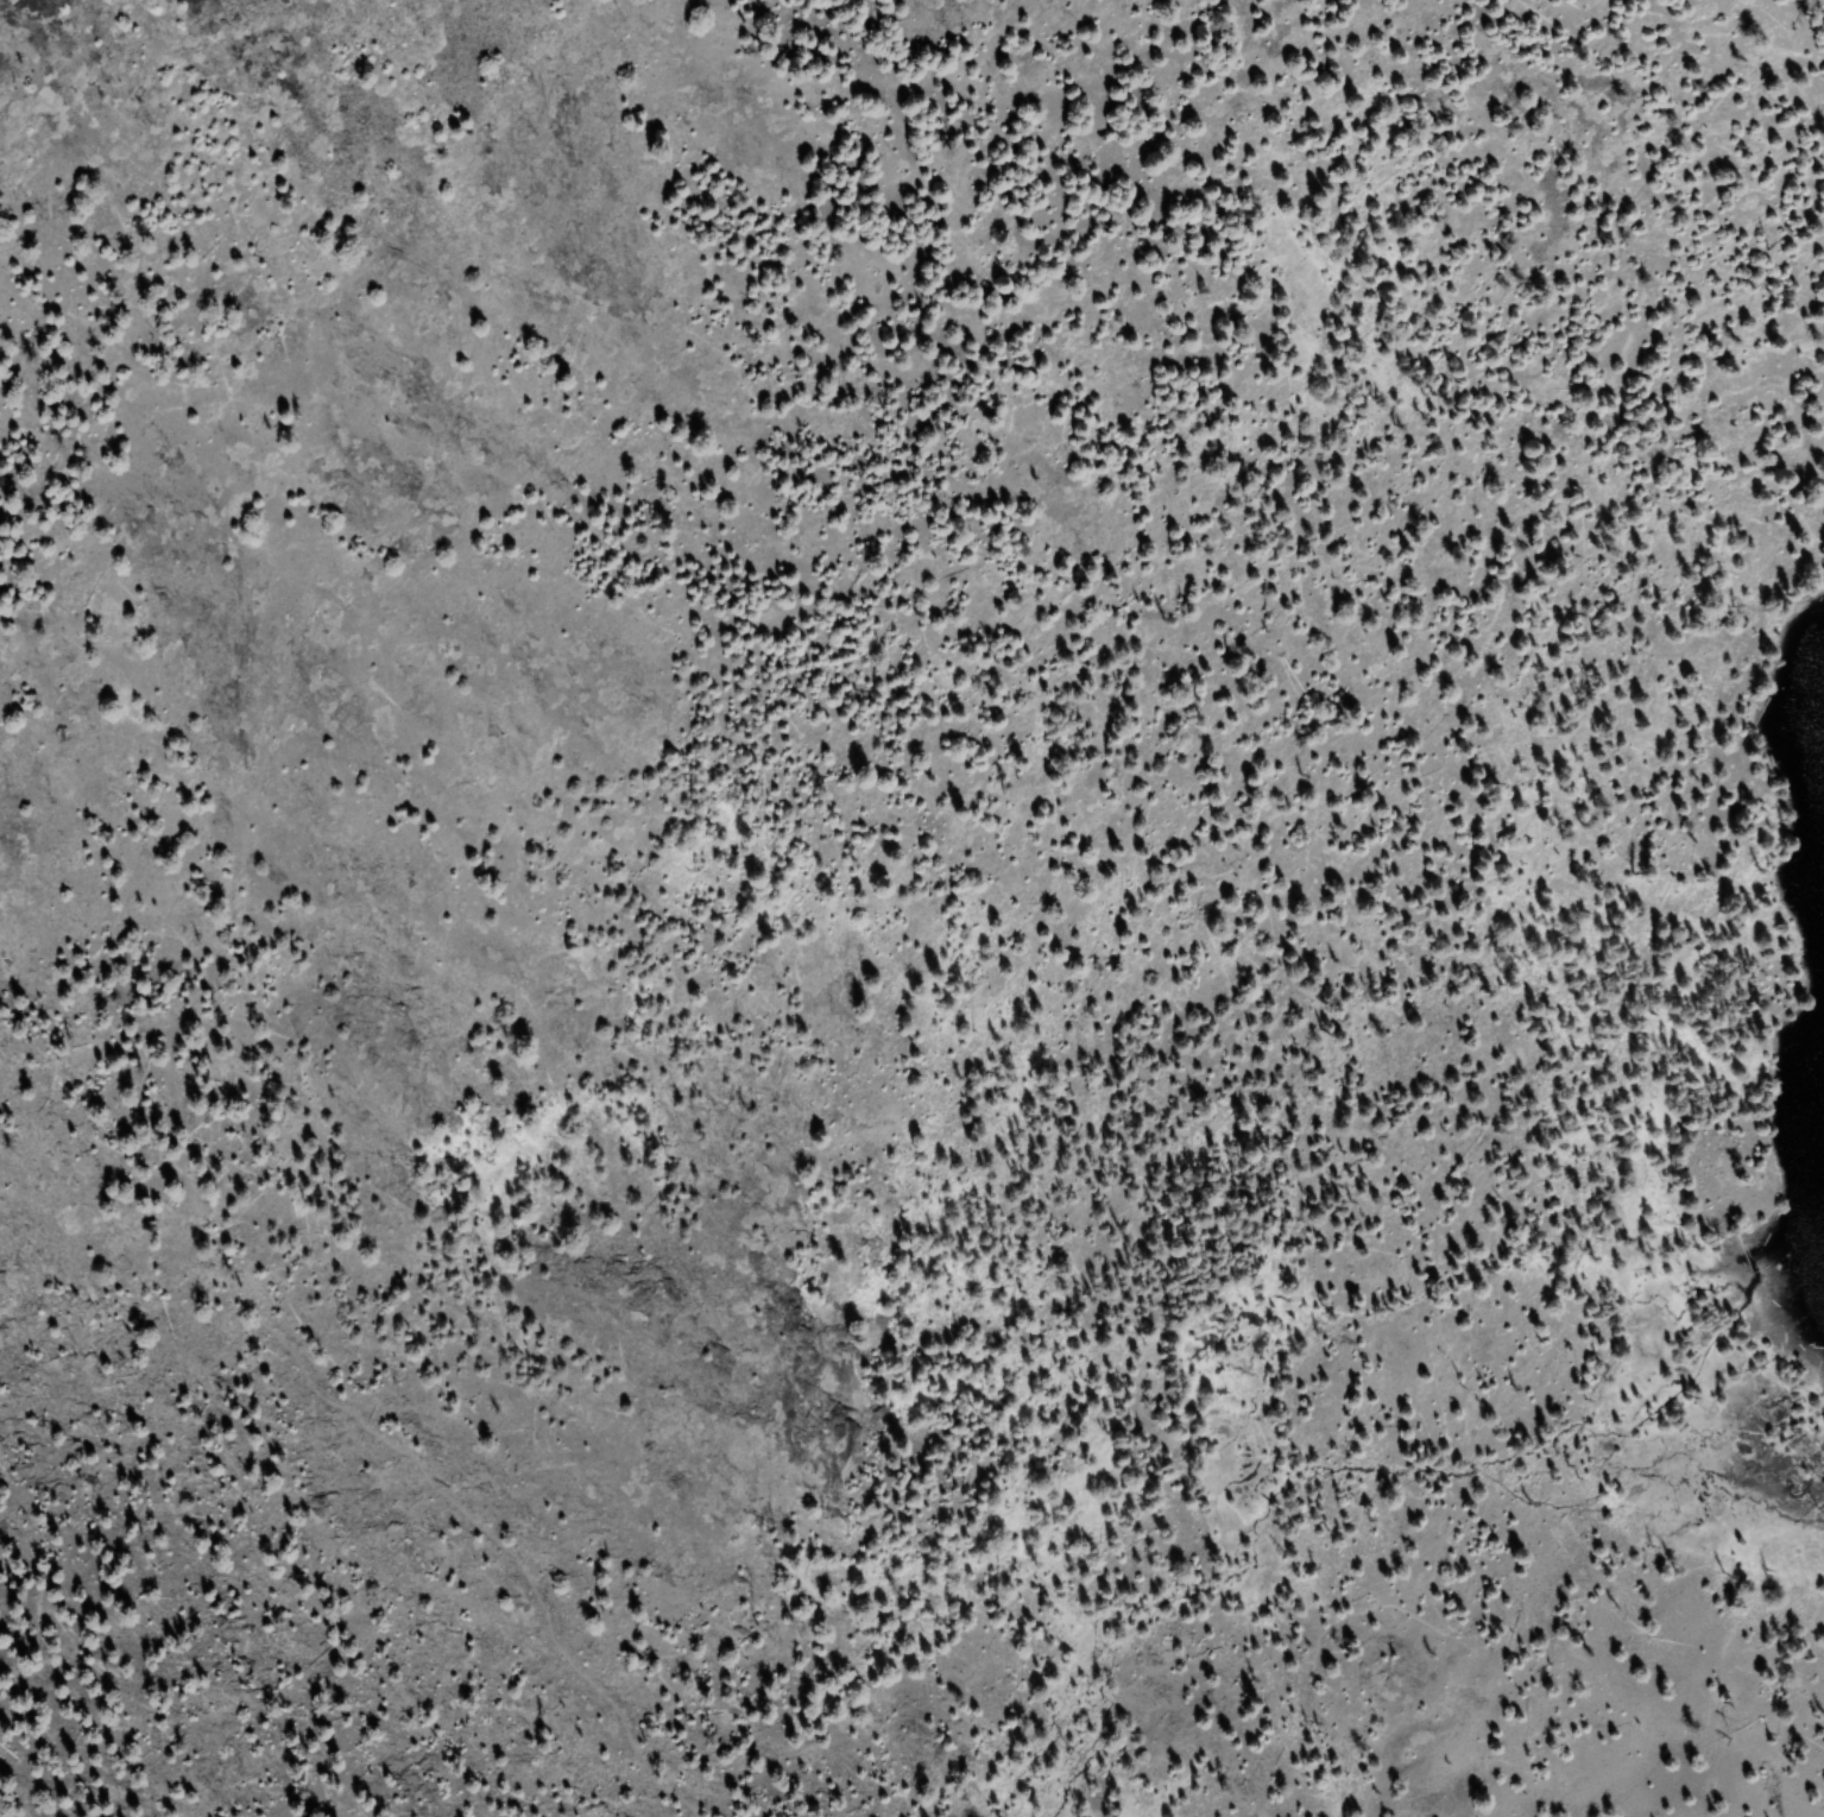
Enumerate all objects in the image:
road: (241, 845)
road: (1588, 1204)

